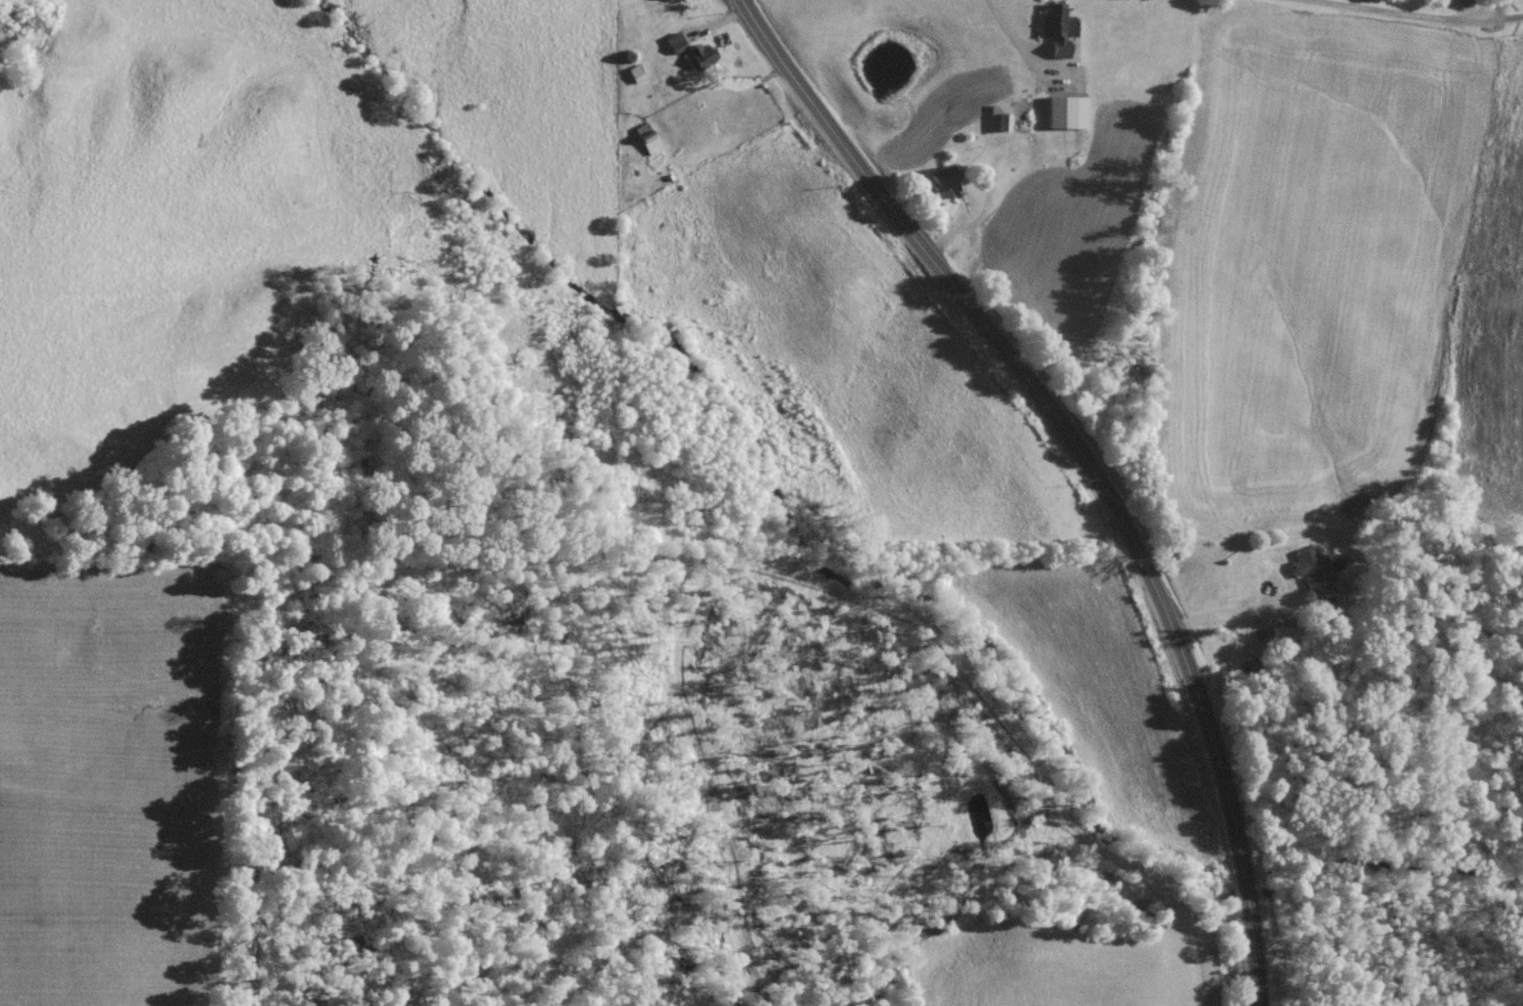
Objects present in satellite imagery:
road: (1411, 11)
road: (1503, 16)
building: (1053, 35)
road: (1024, 45)
building: (633, 79)
building: (1062, 117)
building: (995, 122)
building: (642, 144)
building: (942, 188)
road: (1088, 462)
building: (1309, 576)
road: (1253, 626)
building: (1282, 641)

